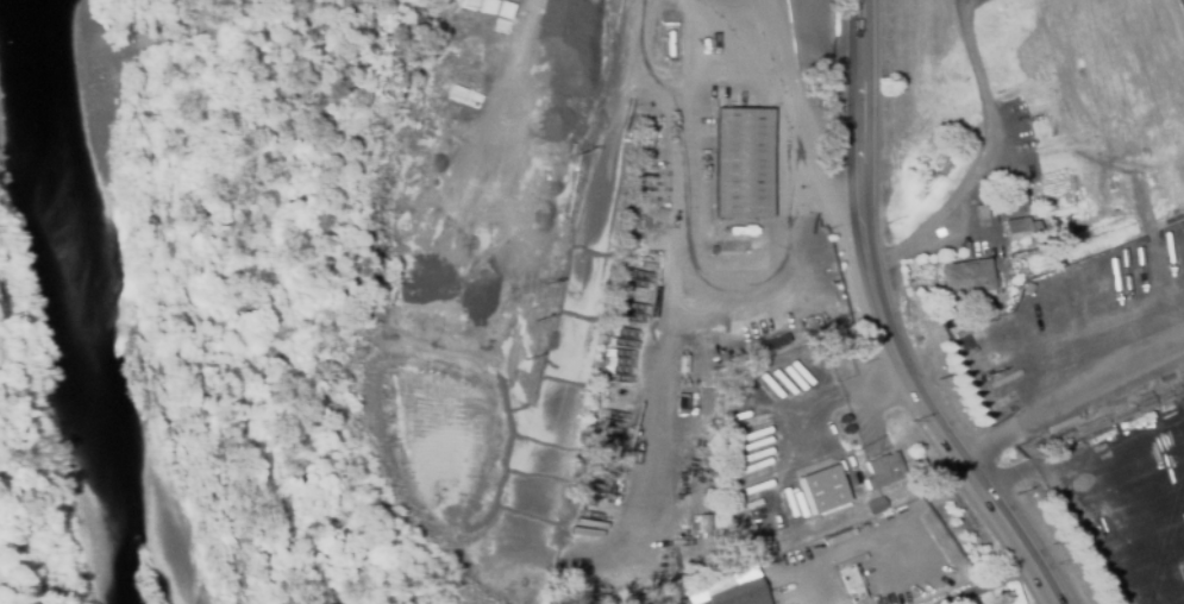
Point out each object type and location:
road: (821, 38)
building: (645, 143)
building: (743, 163)
building: (1015, 199)
building: (986, 213)
building: (1021, 228)
building: (966, 279)
building: (1029, 289)
river: (125, 296)
river: (74, 302)
river: (84, 308)
road: (584, 323)
road: (889, 325)
building: (768, 342)
road: (1072, 398)
building: (844, 419)
building: (847, 429)
building: (882, 470)
road: (1083, 480)
building: (823, 490)
building: (876, 505)
building: (704, 523)
building: (1180, 568)
building: (738, 593)

